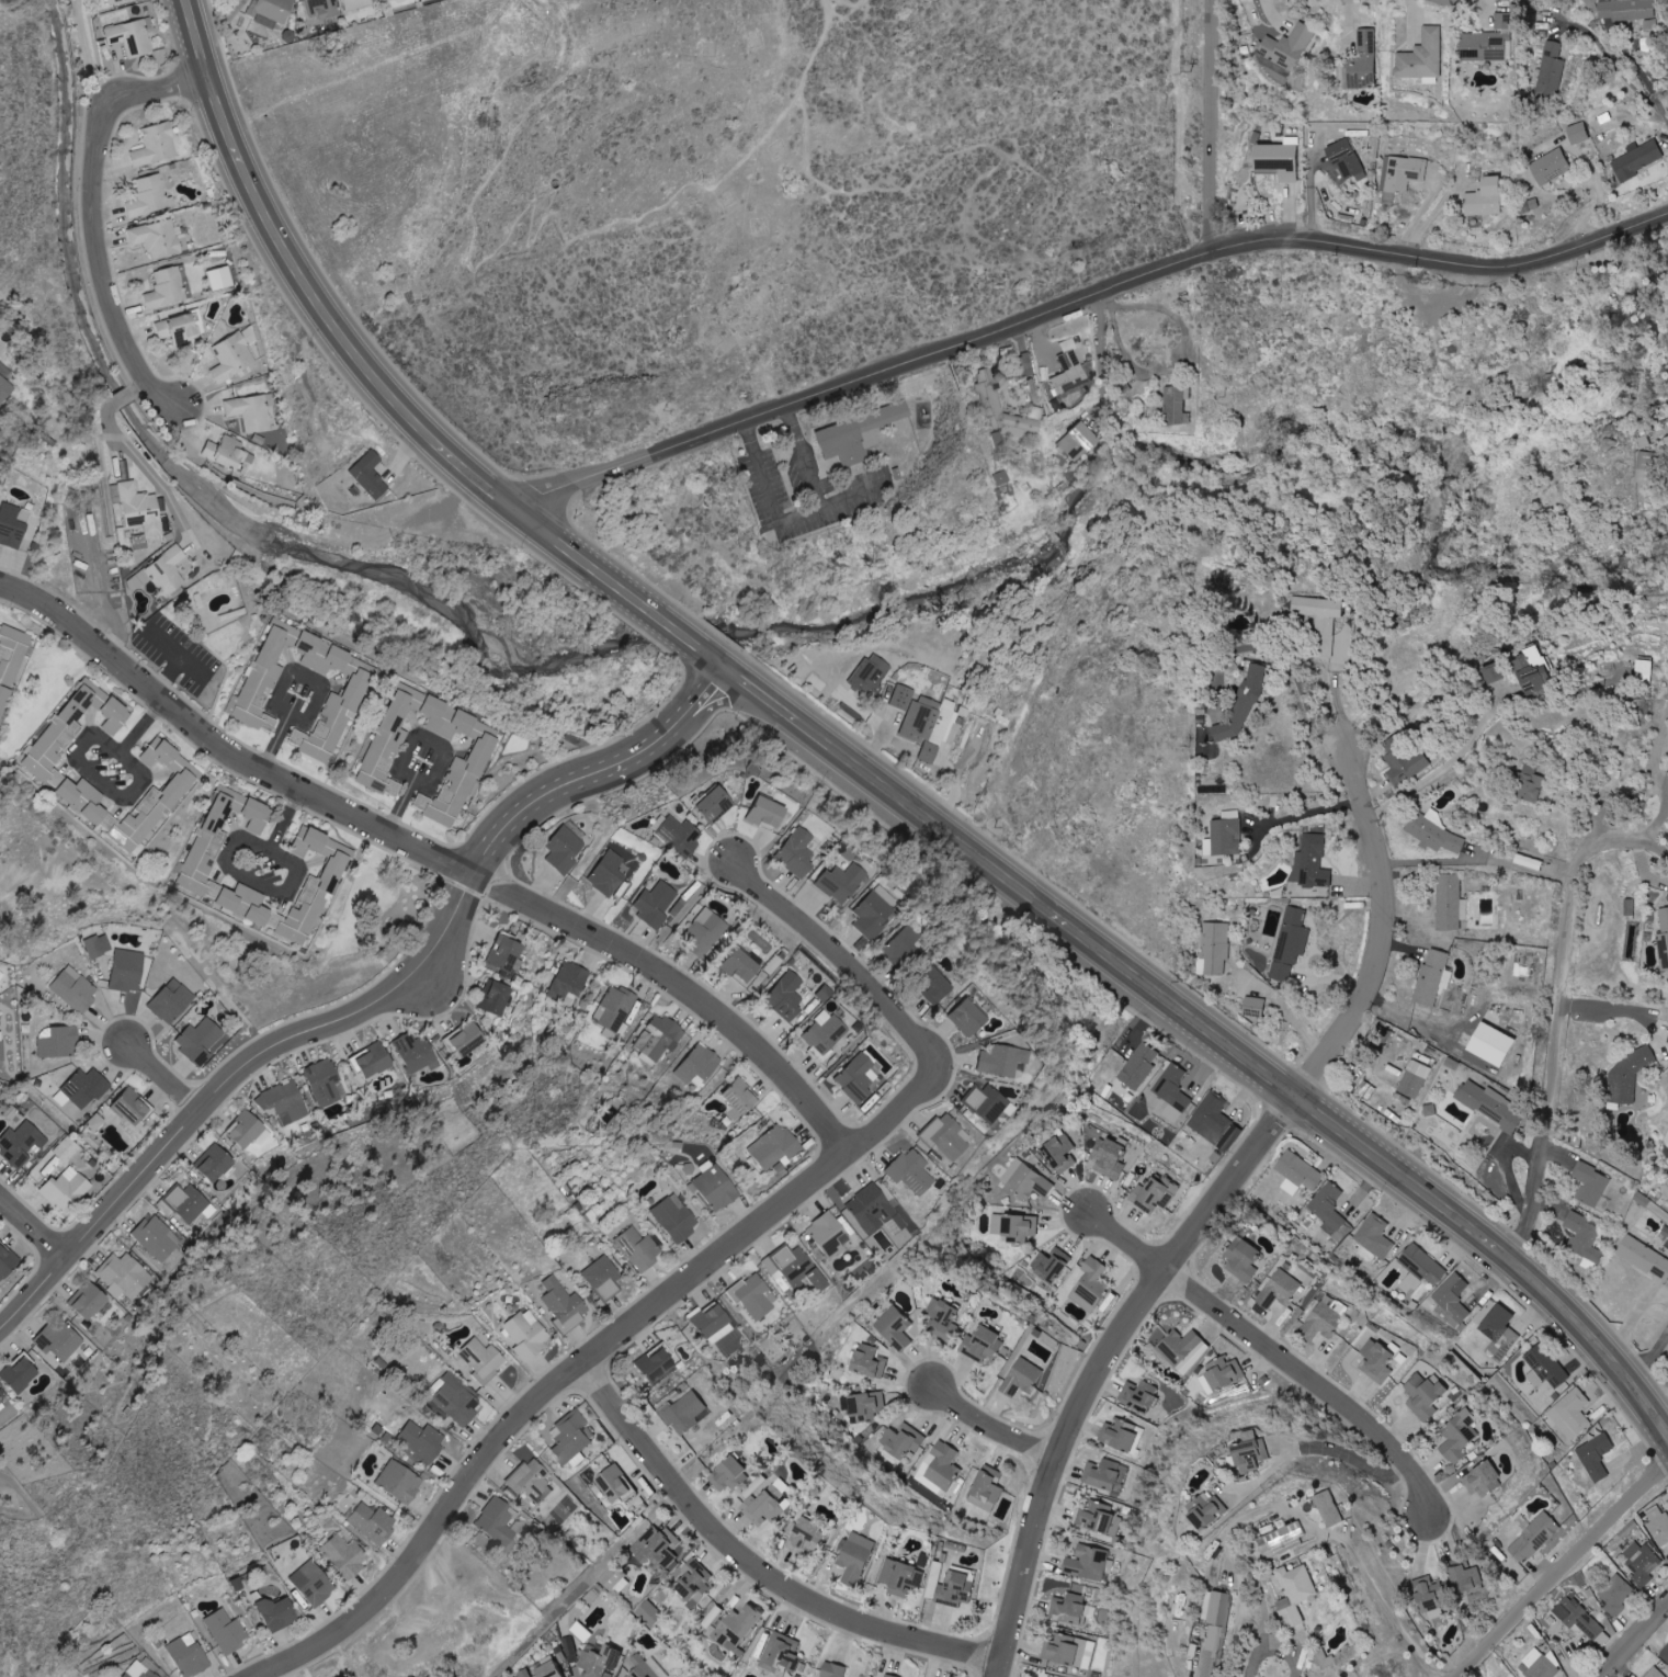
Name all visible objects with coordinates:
building: (359, 3)
building: (325, 10)
building: (1629, 11)
building: (273, 12)
building: (132, 37)
building: (1486, 42)
road: (173, 46)
building: (1286, 46)
building: (1422, 56)
road: (81, 58)
road: (226, 59)
road: (377, 61)
building: (1363, 61)
building: (1551, 70)
road: (1621, 70)
road: (1180, 110)
building: (487, 117)
road: (1211, 125)
building: (1578, 133)
building: (157, 145)
building: (1346, 159)
building: (1637, 160)
building: (1276, 161)
building: (1551, 167)
building: (1405, 172)
building: (554, 182)
road: (1600, 188)
building: (151, 196)
building: (1485, 197)
road: (93, 218)
road: (534, 236)
building: (159, 239)
building: (219, 279)
building: (166, 288)
road: (1082, 301)
building: (180, 331)
road: (1100, 356)
building: (232, 358)
road: (1172, 360)
building: (1069, 370)
road: (137, 385)
building: (5, 388)
road: (122, 396)
building: (990, 396)
building: (1175, 405)
building: (252, 411)
building: (856, 433)
building: (1079, 441)
building: (227, 452)
road: (803, 455)
building: (1647, 468)
road: (148, 472)
building: (371, 475)
building: (141, 509)
road: (781, 520)
building: (82, 522)
building: (12, 526)
building: (168, 571)
building: (1317, 621)
road: (174, 648)
building: (11, 666)
building: (1533, 670)
building: (1644, 671)
building: (1494, 673)
road: (168, 675)
building: (871, 675)
building: (264, 680)
road: (1302, 687)
road: (319, 695)
road: (699, 696)
building: (332, 698)
building: (901, 698)
road: (728, 701)
building: (1234, 705)
building: (116, 716)
building: (929, 721)
building: (66, 726)
road: (876, 741)
road: (224, 749)
building: (386, 750)
road: (75, 752)
building: (929, 753)
road: (444, 758)
road: (1449, 762)
road: (1659, 762)
building: (1405, 764)
road: (860, 769)
building: (1529, 783)
road: (560, 785)
building: (156, 797)
building: (84, 800)
building: (712, 803)
road: (1310, 812)
building: (767, 813)
building: (258, 816)
road: (1654, 827)
building: (1433, 832)
building: (680, 835)
building: (1221, 836)
building: (209, 847)
building: (566, 847)
building: (796, 853)
road: (1478, 859)
building: (1310, 861)
road: (224, 868)
building: (608, 874)
building: (840, 883)
building: (314, 887)
building: (1450, 903)
building: (656, 904)
building: (248, 905)
building: (1629, 907)
building: (872, 913)
building: (705, 932)
road: (1382, 933)
building: (1664, 939)
building: (1290, 944)
building: (99, 945)
building: (901, 948)
building: (1215, 948)
building: (506, 955)
building: (742, 968)
building: (129, 971)
building: (1433, 977)
building: (570, 982)
road: (680, 985)
building: (930, 986)
building: (76, 989)
building: (786, 996)
building: (497, 997)
road: (882, 999)
building: (173, 1002)
road: (1285, 1005)
building: (1253, 1007)
road: (1609, 1007)
road: (1558, 1008)
building: (614, 1010)
building: (962, 1017)
road: (1419, 1026)
building: (821, 1033)
building: (660, 1038)
building: (470, 1040)
building: (201, 1041)
building: (1667, 1042)
building: (60, 1043)
building: (1490, 1045)
building: (2, 1046)
building: (418, 1053)
building: (377, 1060)
building: (999, 1061)
building: (701, 1065)
building: (1139, 1065)
road: (164, 1077)
building: (850, 1077)
building: (1625, 1077)
building: (1414, 1079)
road: (225, 1081)
building: (325, 1083)
building: (88, 1088)
building: (1172, 1091)
building: (734, 1097)
building: (285, 1102)
building: (984, 1103)
building: (1489, 1104)
building: (134, 1108)
building: (1211, 1117)
building: (250, 1130)
building: (942, 1136)
building: (22, 1143)
building: (772, 1147)
building: (68, 1149)
building: (1059, 1153)
building: (1109, 1157)
building: (216, 1163)
building: (907, 1171)
building: (1297, 1172)
building: (1024, 1181)
building: (1592, 1187)
building: (711, 1189)
building: (67, 1190)
building: (1153, 1196)
building: (190, 1203)
building: (871, 1211)
building: (1330, 1211)
building: (672, 1217)
building: (1014, 1226)
road: (32, 1227)
building: (825, 1235)
building: (158, 1237)
building: (1374, 1238)
building: (1584, 1239)
building: (636, 1248)
building: (1644, 1257)
building: (1244, 1259)
building: (8, 1264)
building: (1051, 1265)
building: (1421, 1266)
building: (792, 1269)
building: (124, 1276)
building: (599, 1278)
building: (1090, 1284)
building: (1279, 1289)
building: (751, 1296)
building: (90, 1301)
building: (1452, 1301)
building: (559, 1304)
building: (940, 1316)
building: (1325, 1318)
building: (706, 1319)
building: (895, 1328)
building: (1500, 1333)
building: (523, 1334)
building: (60, 1341)
building: (984, 1344)
building: (1183, 1349)
road: (1273, 1352)
building: (478, 1359)
building: (867, 1360)
road: (1650, 1360)
building: (1376, 1361)
building: (1543, 1364)
road: (1099, 1366)
building: (1222, 1373)
building: (23, 1375)
building: (1022, 1378)
building: (1137, 1395)
building: (1425, 1395)
building: (1, 1401)
building: (452, 1401)
road: (533, 1401)
building: (863, 1406)
building: (684, 1412)
building: (1573, 1414)
road: (990, 1427)
building: (1120, 1435)
building: (1459, 1436)
building: (569, 1439)
building: (419, 1440)
building: (901, 1441)
road: (1317, 1444)
building: (1250, 1451)
building: (1596, 1457)
building: (728, 1474)
building: (1103, 1475)
building: (1483, 1478)
building: (530, 1482)
building: (396, 1483)
building: (614, 1484)
building: (986, 1489)
building: (767, 1504)
building: (1329, 1509)
building: (1205, 1510)
building: (1099, 1518)
building: (368, 1522)
building: (492, 1522)
building: (1658, 1525)
building: (806, 1534)
building: (1534, 1538)
building: (1282, 1539)
building: (655, 1546)
building: (342, 1555)
building: (855, 1556)
building: (1641, 1562)
road: (754, 1563)
building: (1086, 1563)
road: (1562, 1567)
building: (614, 1578)
building: (1465, 1582)
building: (309, 1584)
building: (692, 1586)
building: (955, 1588)
building: (1294, 1594)
building: (1616, 1595)
building: (1429, 1596)
road: (1376, 1599)
building: (1069, 1608)
building: (1217, 1608)
building: (648, 1612)
building: (272, 1613)
building: (1580, 1620)
building: (736, 1629)
building: (223, 1631)
building: (581, 1631)
road: (1632, 1640)
building: (1063, 1648)
road: (1275, 1648)
building: (570, 1650)
building: (1211, 1651)
building: (780, 1654)
building: (1665, 1655)
building: (183, 1658)
building: (599, 1662)
building: (1539, 1665)
building: (646, 1667)
building: (546, 1669)
building: (832, 1669)
building: (1654, 1673)
building: (146, 1674)
building: (124, 1675)
building: (888, 1676)

